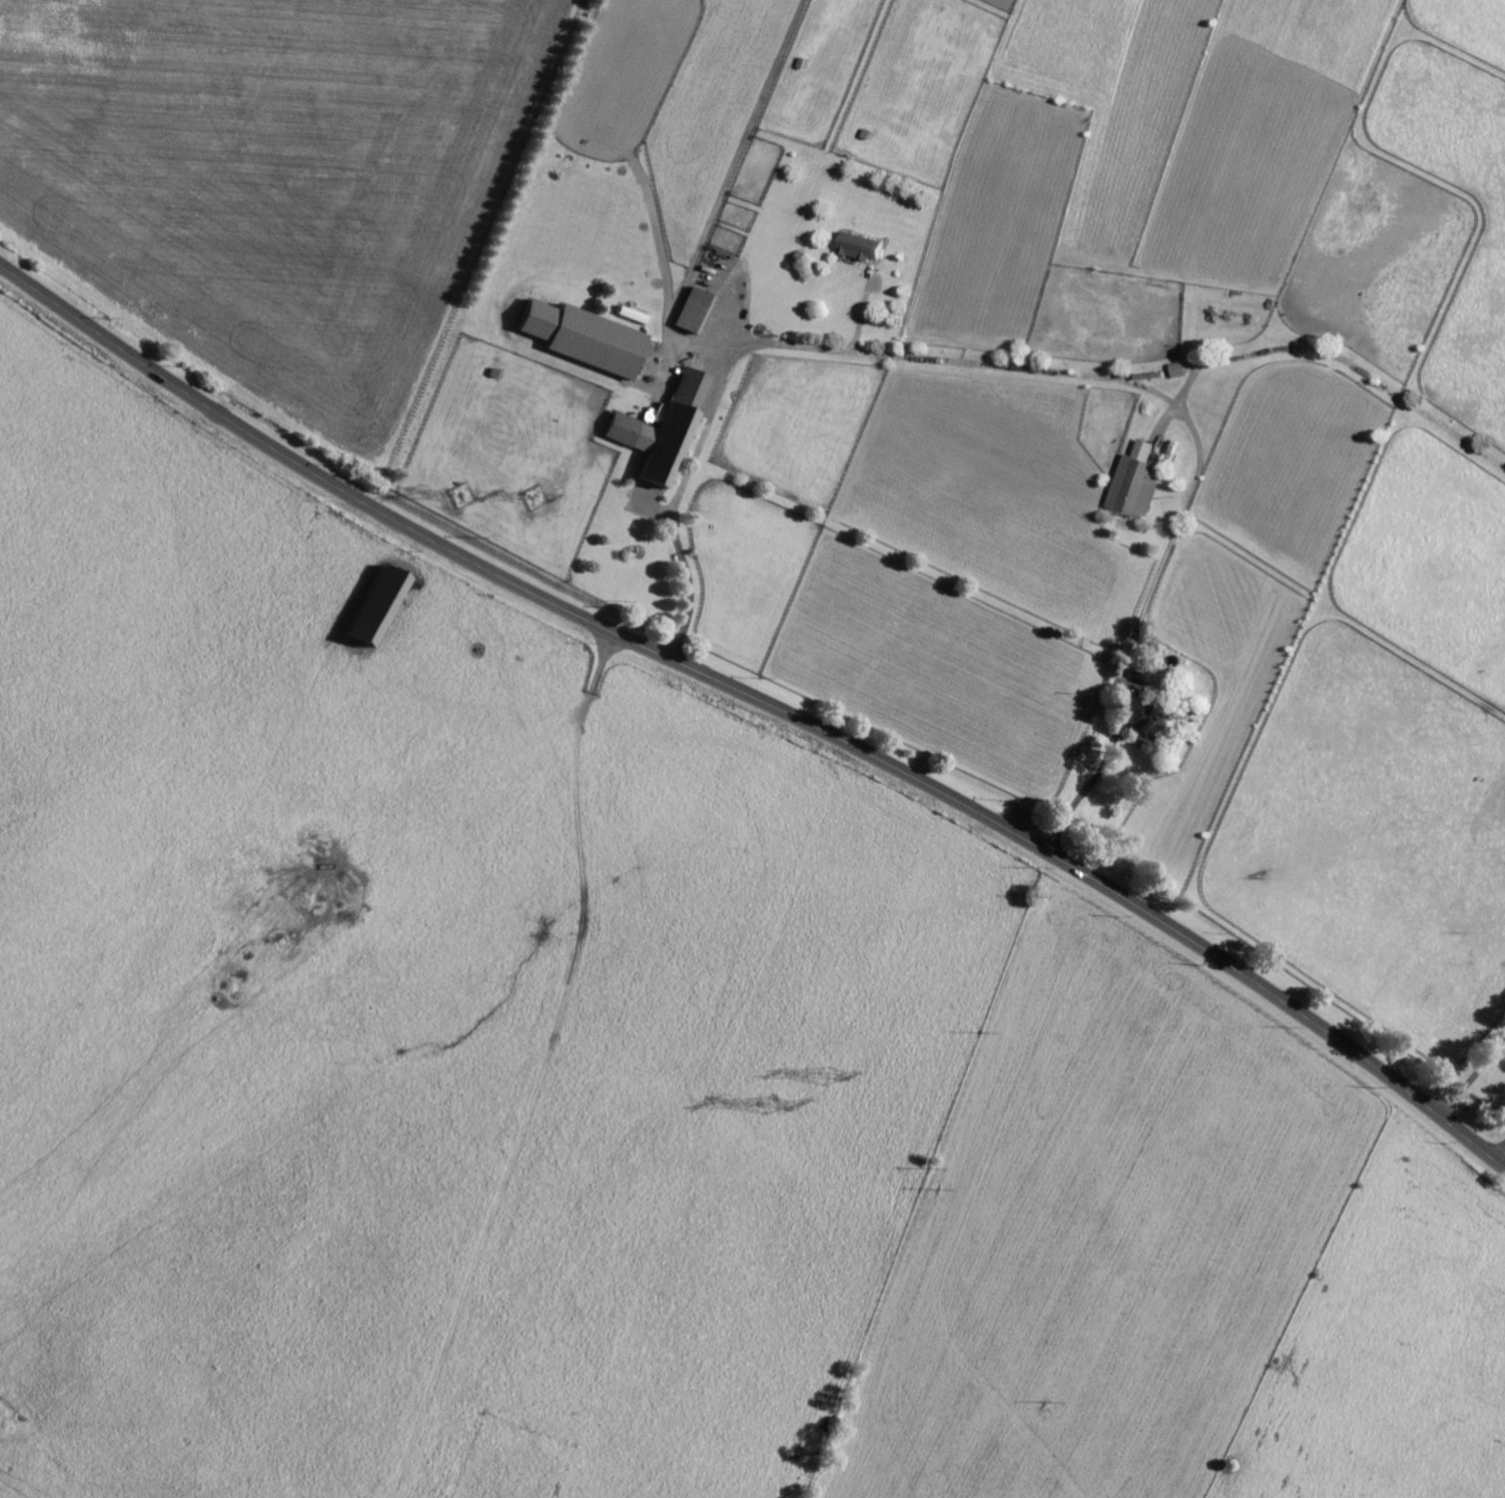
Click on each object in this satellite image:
building: (864, 246)
building: (696, 310)
building: (588, 337)
building: (1181, 369)
road: (712, 413)
building: (666, 430)
building: (1139, 487)
power tower: (466, 492)
power tower: (538, 501)
building: (380, 603)
road: (1136, 630)
road: (762, 700)
building: (1154, 712)
power tower: (831, 1076)
road: (1471, 1076)
power tower: (777, 1102)
road: (1499, 1153)

